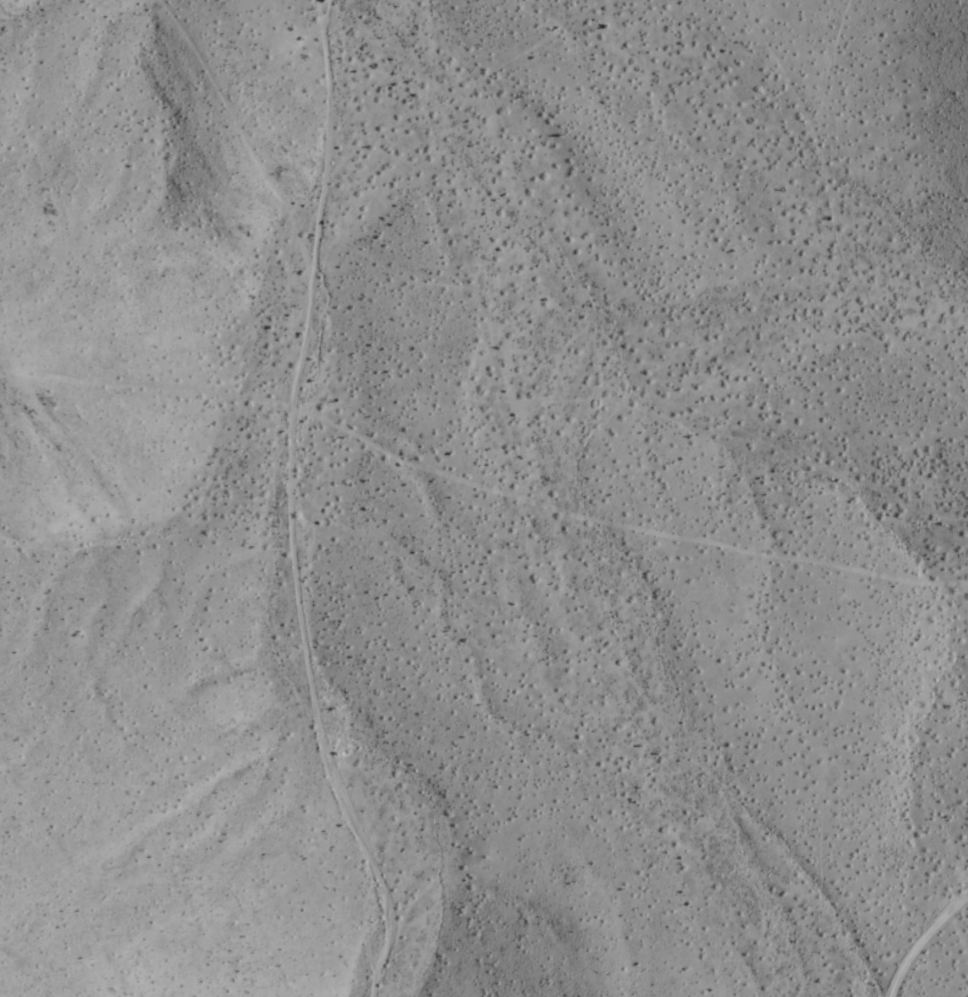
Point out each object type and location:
road: (927, 946)

